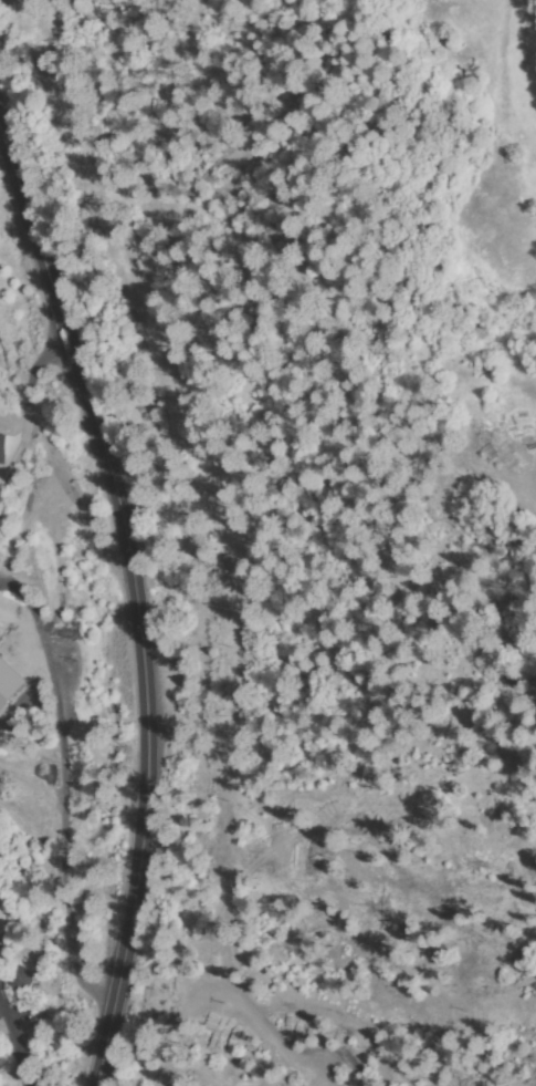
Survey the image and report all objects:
road: (24, 426)
building: (1, 447)
road: (522, 567)
road: (139, 603)
building: (9, 683)
road: (56, 808)
building: (23, 982)
road: (9, 1056)

